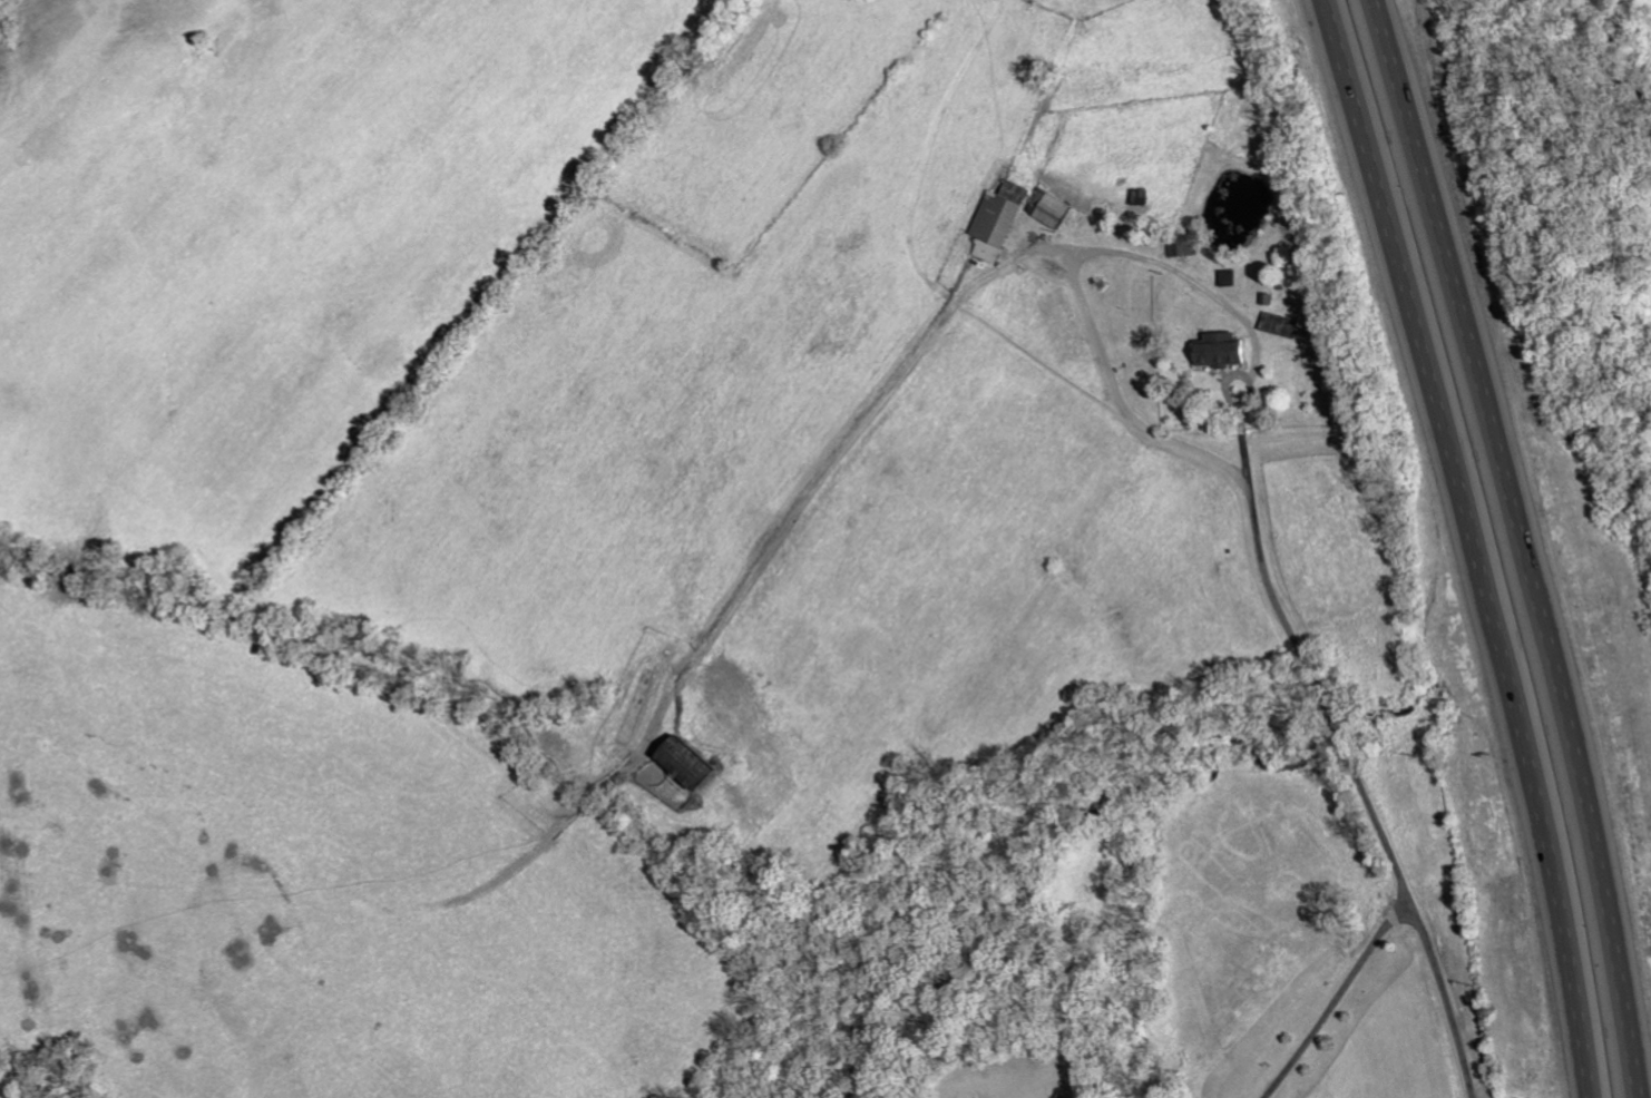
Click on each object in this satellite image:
building: (994, 222)
road: (1072, 284)
building: (1215, 351)
road: (1234, 413)
road: (1531, 542)
road: (1484, 545)
building: (696, 764)
road: (1369, 806)
road: (1649, 1096)

